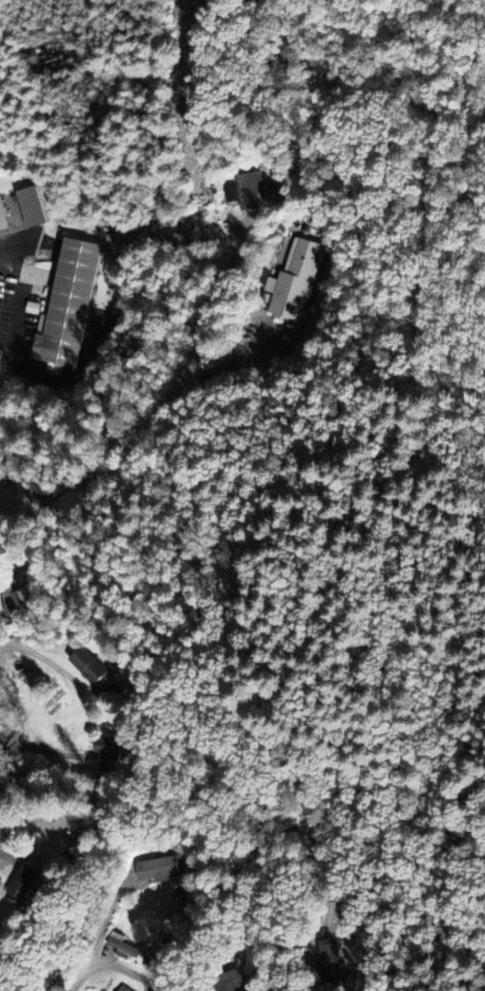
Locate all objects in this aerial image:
building: (251, 193)
building: (31, 209)
building: (2, 219)
building: (295, 283)
building: (67, 310)
building: (16, 604)
building: (88, 668)
building: (107, 755)
building: (157, 870)
building: (22, 884)
road: (99, 932)
building: (121, 948)
building: (328, 964)
building: (232, 982)
building: (121, 989)

